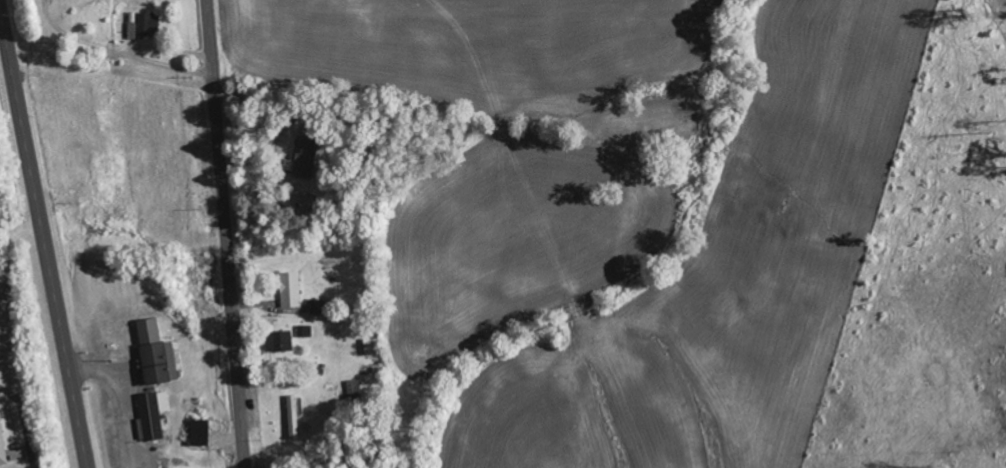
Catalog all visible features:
building: (144, 25)
road: (406, 106)
building: (306, 158)
road: (227, 233)
road: (43, 238)
building: (291, 289)
building: (320, 306)
building: (305, 331)
building: (280, 340)
building: (153, 353)
building: (153, 415)
building: (293, 417)
building: (201, 432)
building: (2, 444)

